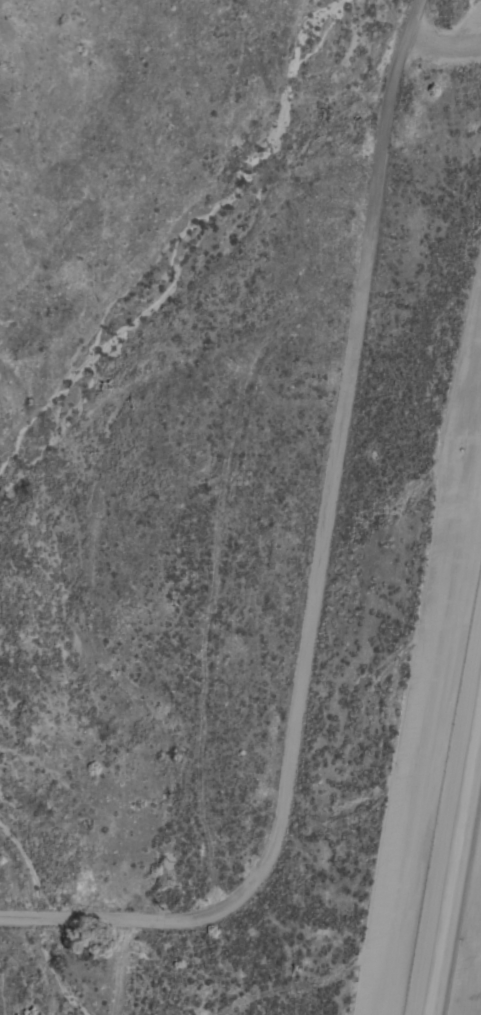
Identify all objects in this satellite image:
road: (320, 571)

